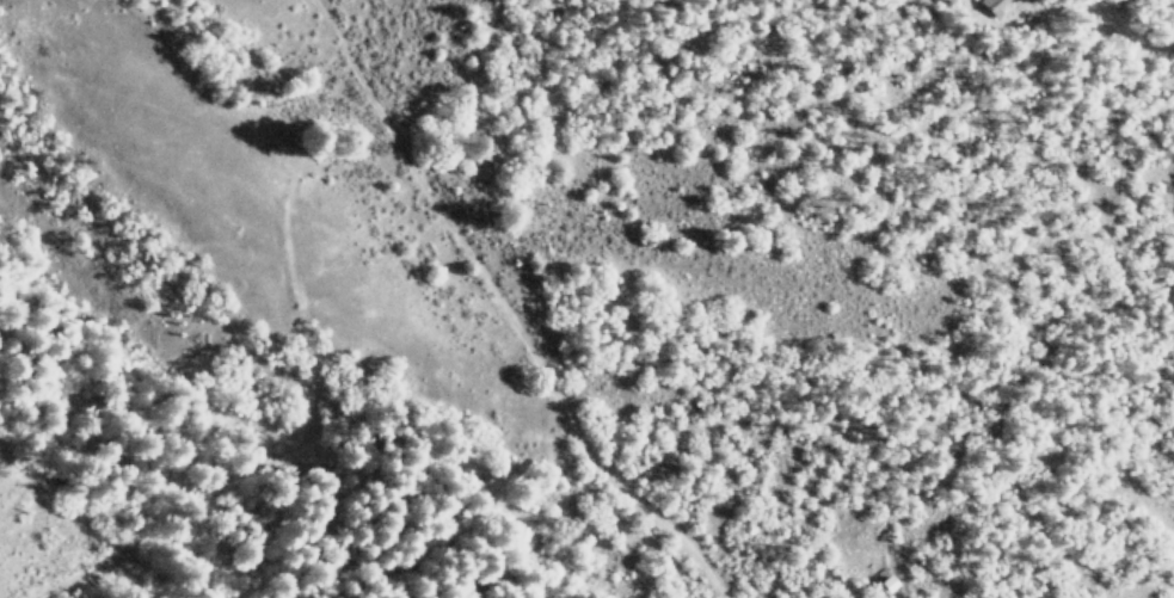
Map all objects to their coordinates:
building: (992, 5)

